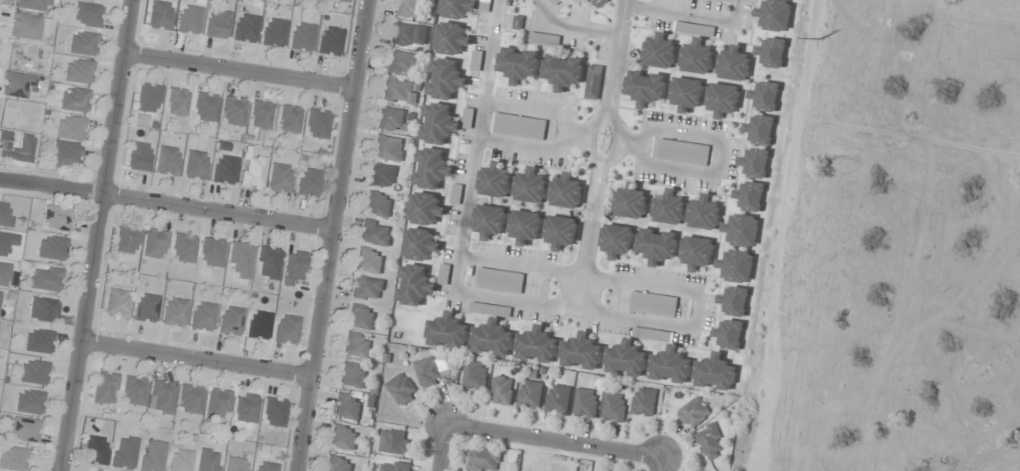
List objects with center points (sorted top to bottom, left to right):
building: (102, 0)
building: (341, 0)
building: (555, 2)
building: (33, 4)
building: (485, 5)
building: (458, 8)
building: (409, 9)
road: (687, 14)
building: (86, 15)
building: (776, 15)
building: (160, 16)
building: (188, 20)
building: (216, 24)
building: (28, 26)
road: (572, 26)
building: (244, 28)
building: (273, 33)
building: (408, 35)
building: (301, 37)
building: (452, 38)
building: (545, 39)
building: (329, 41)
building: (82, 43)
building: (697, 48)
building: (660, 52)
building: (773, 52)
road: (614, 58)
building: (477, 61)
building: (402, 63)
building: (520, 64)
building: (735, 64)
road: (237, 70)
building: (78, 71)
building: (564, 71)
building: (447, 78)
building: (595, 81)
building: (647, 87)
building: (397, 91)
building: (687, 93)
building: (766, 96)
building: (147, 98)
building: (723, 99)
building: (73, 100)
building: (176, 102)
building: (204, 107)
building: (232, 111)
building: (259, 115)
building: (390, 119)
building: (288, 120)
building: (444, 123)
building: (316, 124)
building: (520, 126)
building: (70, 128)
building: (761, 130)
road: (566, 134)
road: (579, 134)
road: (623, 141)
road: (478, 144)
building: (15, 148)
building: (388, 148)
building: (683, 152)
building: (65, 155)
building: (138, 157)
road: (720, 158)
building: (167, 161)
building: (756, 163)
road: (599, 164)
building: (194, 165)
building: (432, 168)
building: (223, 170)
building: (251, 171)
building: (382, 175)
building: (279, 179)
building: (496, 181)
building: (307, 183)
building: (532, 187)
building: (567, 192)
building: (457, 194)
building: (751, 196)
building: (631, 202)
road: (166, 203)
building: (378, 204)
building: (426, 208)
building: (670, 208)
building: (705, 213)
building: (5, 215)
building: (55, 218)
building: (491, 220)
building: (526, 225)
building: (743, 229)
building: (562, 231)
building: (375, 233)
road: (94, 235)
road: (330, 235)
road: (587, 236)
building: (126, 239)
building: (618, 239)
building: (154, 244)
building: (420, 244)
building: (658, 245)
building: (51, 248)
building: (182, 248)
building: (210, 252)
building: (698, 252)
building: (369, 260)
building: (239, 261)
building: (267, 263)
building: (737, 265)
building: (294, 267)
building: (444, 274)
building: (7, 275)
building: (44, 279)
building: (500, 280)
building: (415, 285)
building: (367, 288)
building: (735, 300)
building: (117, 304)
building: (653, 304)
building: (145, 308)
building: (42, 309)
road: (698, 309)
building: (173, 312)
building: (201, 316)
building: (361, 317)
building: (229, 321)
building: (257, 325)
building: (285, 329)
building: (448, 331)
building: (492, 331)
building: (730, 334)
building: (37, 341)
building: (356, 345)
building: (538, 345)
building: (582, 351)
building: (633, 352)
road: (194, 357)
building: (671, 365)
building: (432, 370)
building: (33, 372)
building: (716, 372)
building: (352, 374)
building: (476, 375)
building: (104, 388)
building: (402, 388)
building: (132, 390)
building: (503, 390)
building: (531, 394)
building: (160, 397)
building: (559, 398)
building: (189, 399)
building: (645, 401)
building: (28, 402)
building: (587, 402)
building: (217, 403)
building: (347, 406)
building: (615, 406)
building: (245, 408)
building: (273, 412)
building: (695, 412)
building: (24, 430)
building: (342, 436)
building: (395, 441)
road: (553, 441)
building: (711, 442)
road: (441, 448)
building: (94, 450)
building: (123, 452)
building: (151, 453)
building: (12, 459)
building: (179, 460)
building: (208, 460)
building: (484, 460)
building: (235, 464)
building: (338, 464)
road: (660, 464)
building: (264, 466)
building: (394, 466)

